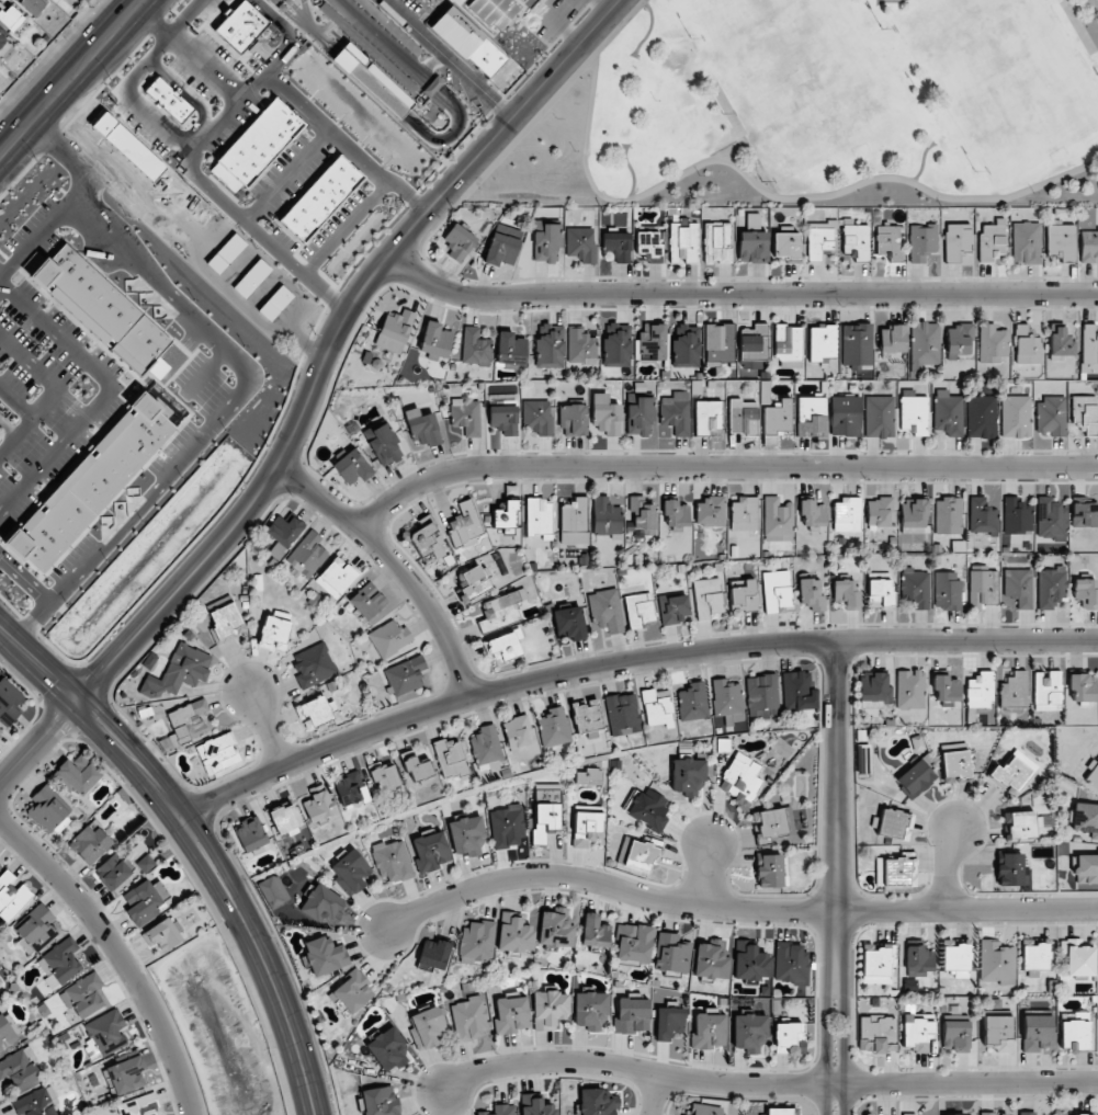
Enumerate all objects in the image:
road: (288, 1)
road: (275, 2)
building: (33, 5)
power tower: (89, 8)
road: (282, 8)
road: (297, 9)
building: (496, 11)
building: (10, 16)
road: (297, 18)
building: (241, 26)
road: (312, 31)
road: (288, 33)
building: (2, 38)
road: (384, 41)
road: (189, 53)
road: (449, 59)
road: (430, 61)
road: (71, 78)
building: (372, 80)
road: (371, 83)
road: (432, 87)
building: (171, 103)
park: (820, 109)
road: (148, 117)
road: (451, 136)
road: (343, 144)
building: (257, 146)
road: (286, 174)
road: (766, 192)
building: (321, 198)
road: (346, 227)
road: (260, 232)
road: (42, 234)
building: (819, 238)
building: (856, 239)
building: (956, 240)
building: (459, 241)
building: (890, 241)
building: (921, 241)
building: (991, 241)
building: (717, 242)
building: (1026, 242)
building: (1060, 242)
building: (546, 243)
building: (580, 243)
building: (649, 243)
building: (683, 243)
building: (502, 244)
building: (785, 244)
building: (616, 246)
building: (752, 246)
building: (1088, 246)
building: (226, 253)
building: (251, 277)
road: (737, 294)
building: (275, 303)
building: (104, 311)
building: (395, 331)
road: (333, 339)
building: (893, 339)
building: (435, 340)
building: (960, 340)
building: (754, 341)
building: (718, 342)
building: (788, 342)
building: (822, 342)
building: (653, 343)
building: (925, 343)
building: (992, 343)
building: (1061, 344)
building: (616, 345)
building: (856, 345)
building: (548, 346)
building: (581, 346)
building: (686, 346)
building: (1027, 346)
building: (1089, 346)
building: (475, 348)
building: (511, 350)
road: (240, 384)
road: (45, 394)
road: (104, 395)
building: (676, 412)
building: (948, 412)
building: (1085, 412)
building: (605, 414)
building: (914, 414)
building: (845, 416)
building: (1051, 416)
building: (466, 417)
building: (537, 417)
building: (639, 417)
building: (811, 417)
building: (879, 417)
building: (982, 417)
building: (1016, 417)
building: (743, 418)
building: (503, 419)
building: (573, 419)
building: (708, 419)
building: (777, 421)
building: (422, 428)
building: (383, 444)
road: (721, 462)
building: (352, 467)
building: (91, 483)
building: (711, 511)
building: (879, 512)
building: (675, 513)
building: (507, 514)
building: (744, 514)
building: (812, 514)
building: (847, 514)
building: (1085, 514)
building: (574, 515)
building: (642, 515)
building: (948, 515)
building: (913, 516)
building: (982, 516)
building: (1017, 516)
building: (605, 517)
building: (1051, 519)
building: (778, 520)
building: (465, 524)
building: (283, 534)
building: (427, 542)
building: (307, 554)
road: (396, 564)
building: (336, 577)
road: (24, 581)
building: (474, 582)
building: (982, 585)
building: (1051, 587)
building: (916, 588)
building: (1018, 588)
building: (879, 589)
building: (777, 591)
building: (947, 591)
building: (1086, 592)
building: (846, 593)
building: (811, 594)
building: (743, 595)
building: (708, 599)
building: (369, 602)
building: (672, 608)
building: (639, 610)
building: (501, 611)
building: (607, 611)
building: (226, 621)
building: (569, 623)
building: (274, 632)
building: (389, 638)
building: (505, 645)
road: (627, 660)
building: (313, 664)
road: (39, 668)
building: (178, 671)
building: (405, 675)
building: (946, 687)
building: (1082, 687)
building: (910, 690)
building: (980, 690)
building: (797, 691)
building: (874, 691)
building: (1014, 691)
building: (1048, 691)
building: (761, 695)
building: (727, 699)
building: (9, 702)
building: (692, 702)
building: (657, 707)
building: (318, 709)
building: (622, 714)
building: (586, 715)
building: (189, 723)
building: (553, 727)
road: (265, 728)
building: (0, 731)
building: (516, 732)
building: (485, 746)
road: (39, 747)
building: (217, 753)
building: (450, 758)
building: (955, 762)
building: (416, 765)
building: (1014, 772)
building: (78, 774)
building: (384, 775)
building: (688, 776)
building: (1093, 776)
building: (915, 778)
building: (742, 780)
building: (352, 790)
building: (647, 809)
building: (48, 811)
building: (285, 818)
building: (1086, 819)
building: (545, 820)
building: (770, 822)
building: (894, 823)
building: (586, 824)
building: (1021, 824)
building: (507, 827)
building: (250, 835)
building: (468, 835)
building: (89, 844)
building: (430, 851)
building: (644, 855)
building: (392, 861)
building: (0, 866)
road: (942, 866)
building: (1086, 868)
building: (1010, 869)
building: (770, 871)
building: (113, 872)
building: (350, 872)
building: (892, 872)
road: (701, 874)
road: (829, 875)
road: (231, 889)
building: (273, 891)
building: (11, 897)
building: (145, 901)
building: (322, 906)
road: (733, 910)
building: (35, 929)
building: (555, 929)
building: (595, 931)
building: (514, 933)
building: (162, 935)
building: (477, 940)
building: (634, 943)
road: (118, 951)
building: (671, 953)
building: (434, 954)
building: (325, 955)
building: (1034, 955)
building: (955, 957)
building: (1077, 957)
building: (711, 959)
building: (61, 960)
building: (918, 960)
building: (996, 960)
building: (749, 962)
building: (790, 963)
building: (878, 963)
building: (351, 993)
building: (83, 995)
building: (550, 1010)
building: (590, 1011)
building: (511, 1014)
building: (632, 1015)
building: (469, 1017)
building: (669, 1022)
building: (427, 1027)
building: (709, 1029)
building: (8, 1031)
building: (917, 1031)
building: (749, 1032)
building: (998, 1032)
building: (1037, 1033)
building: (1075, 1033)
building: (104, 1034)
building: (878, 1034)
building: (955, 1036)
building: (789, 1038)
building: (387, 1048)
building: (20, 1068)
building: (126, 1076)
road: (759, 1086)
road: (653, 1096)
building: (380, 1101)
building: (599, 1102)
building: (36, 1103)
building: (535, 1105)
building: (139, 1106)
building: (501, 1110)
building: (704, 1110)
building: (779, 1111)
building: (987, 1113)
building: (1027, 1113)
building: (908, 1114)
building: (1080, 1114)

